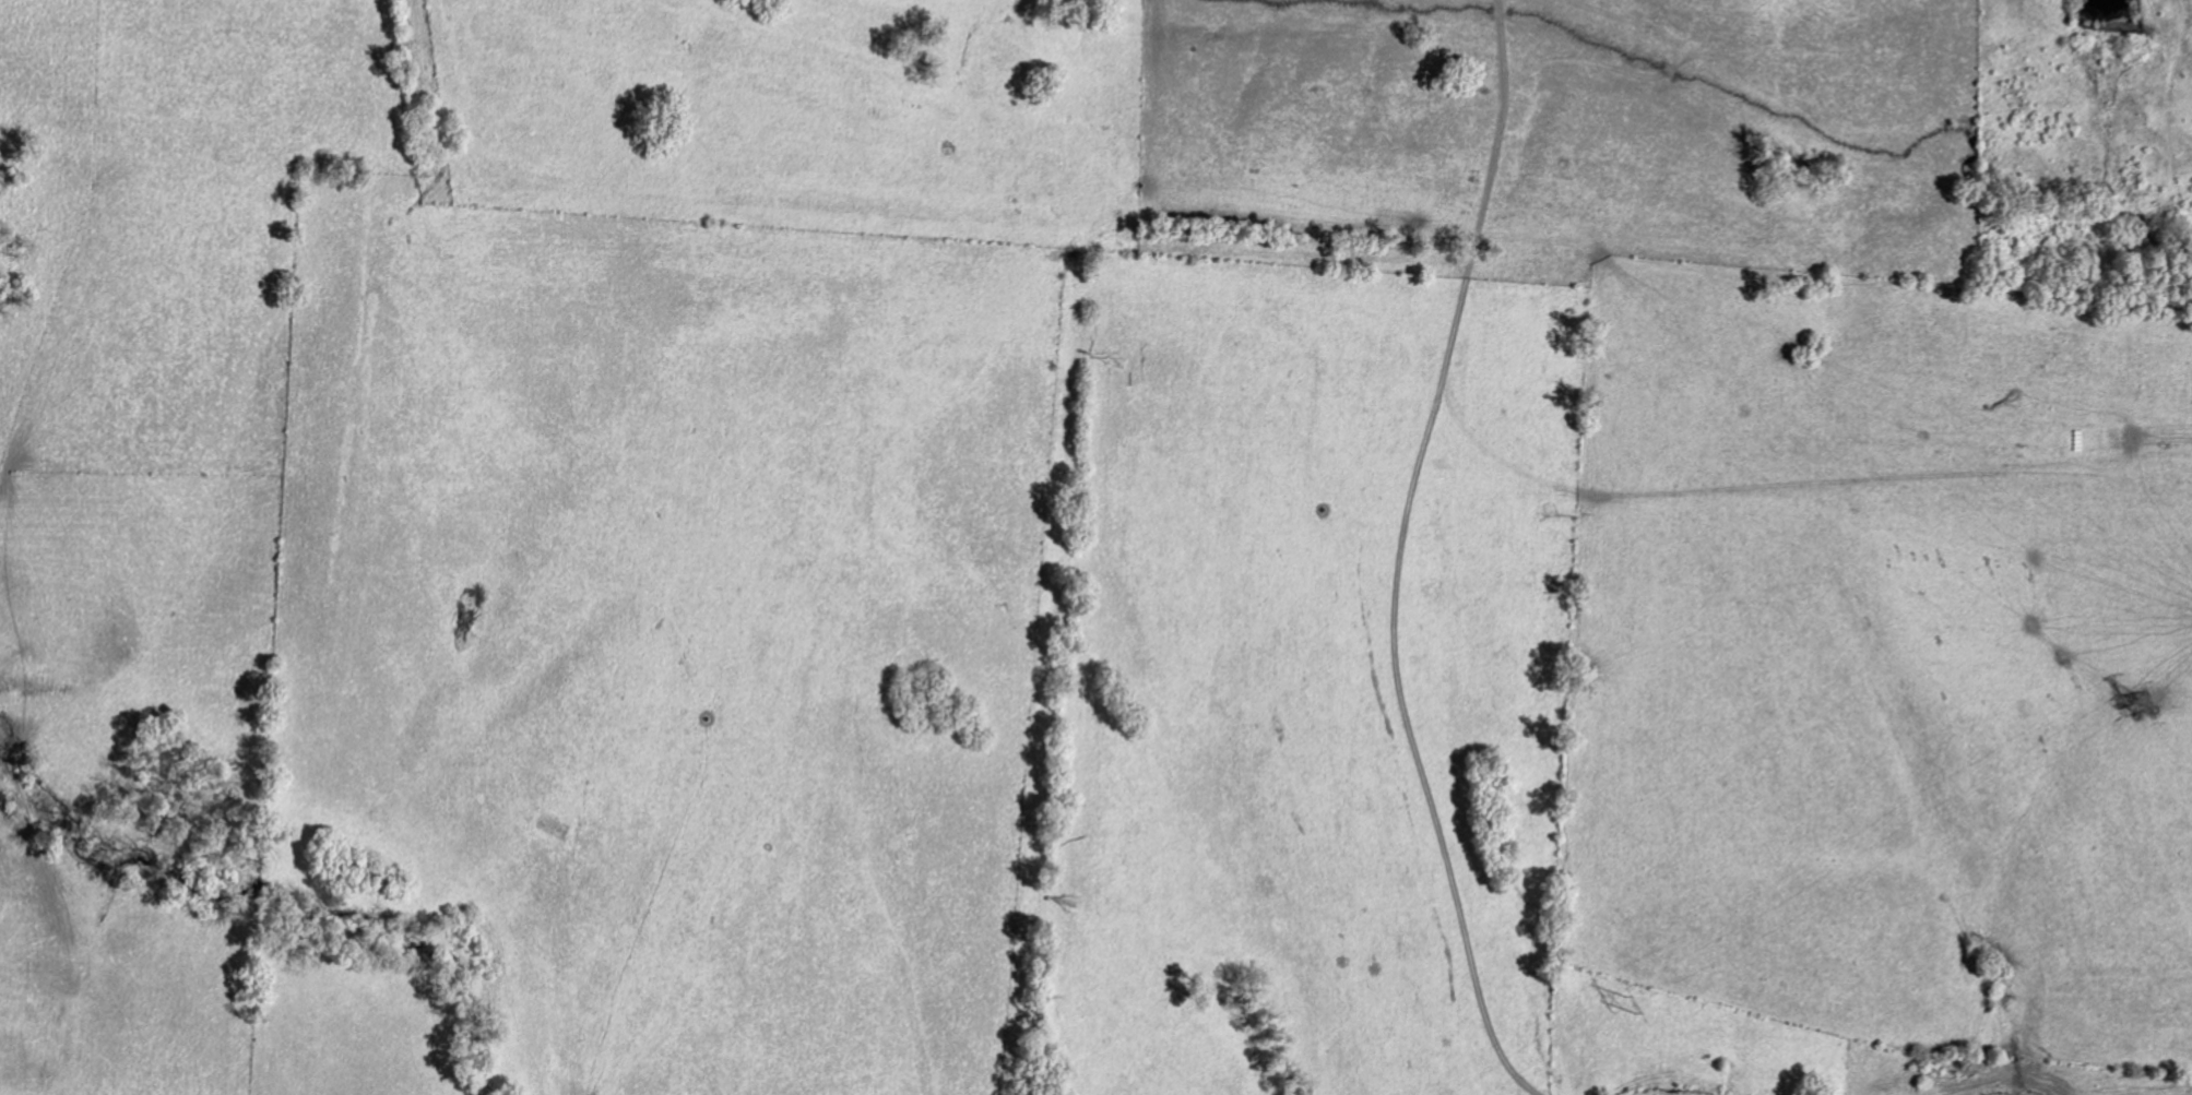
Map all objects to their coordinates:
power tower: (2145, 704)
power tower: (1630, 1003)

